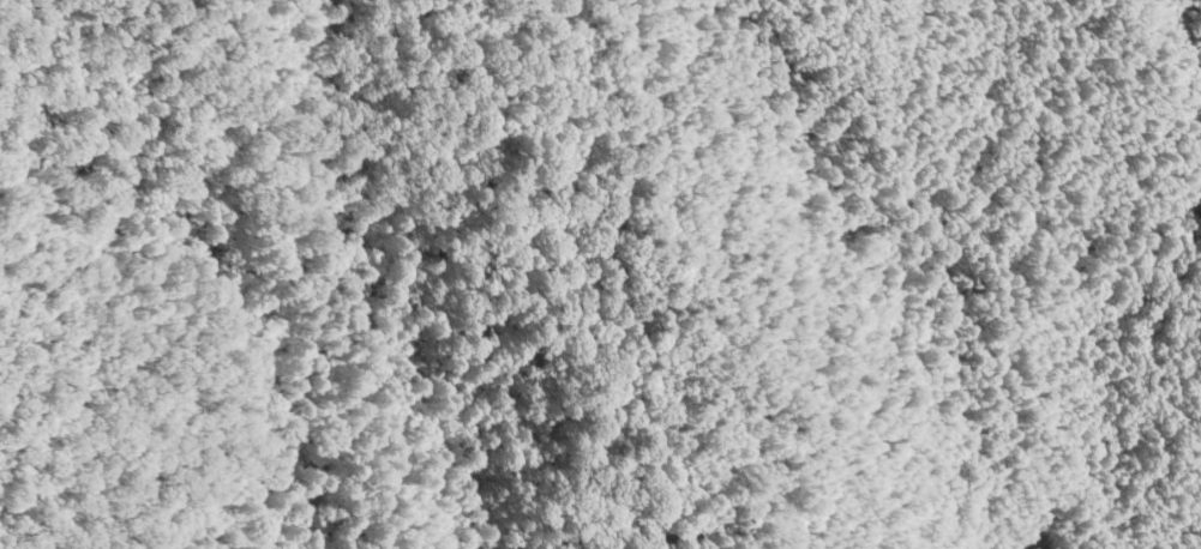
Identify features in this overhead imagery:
park: (600, 274)

